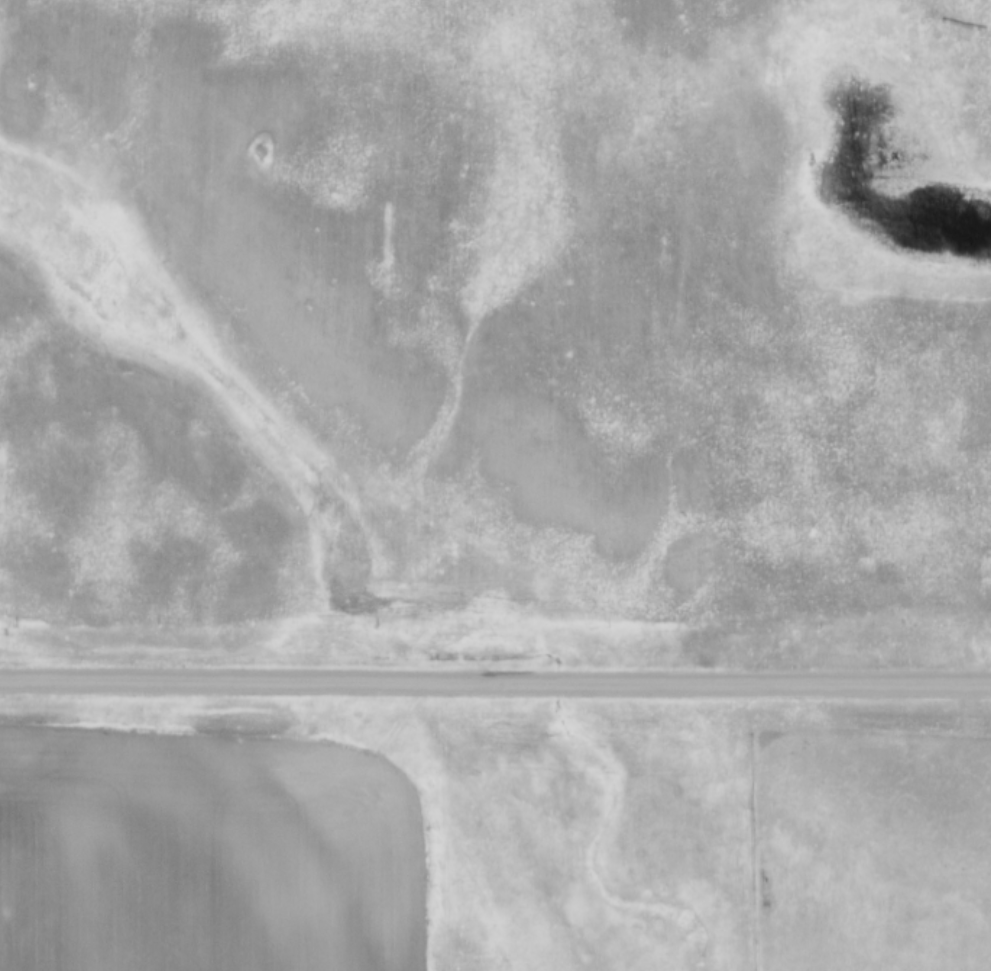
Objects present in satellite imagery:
road: (495, 683)

